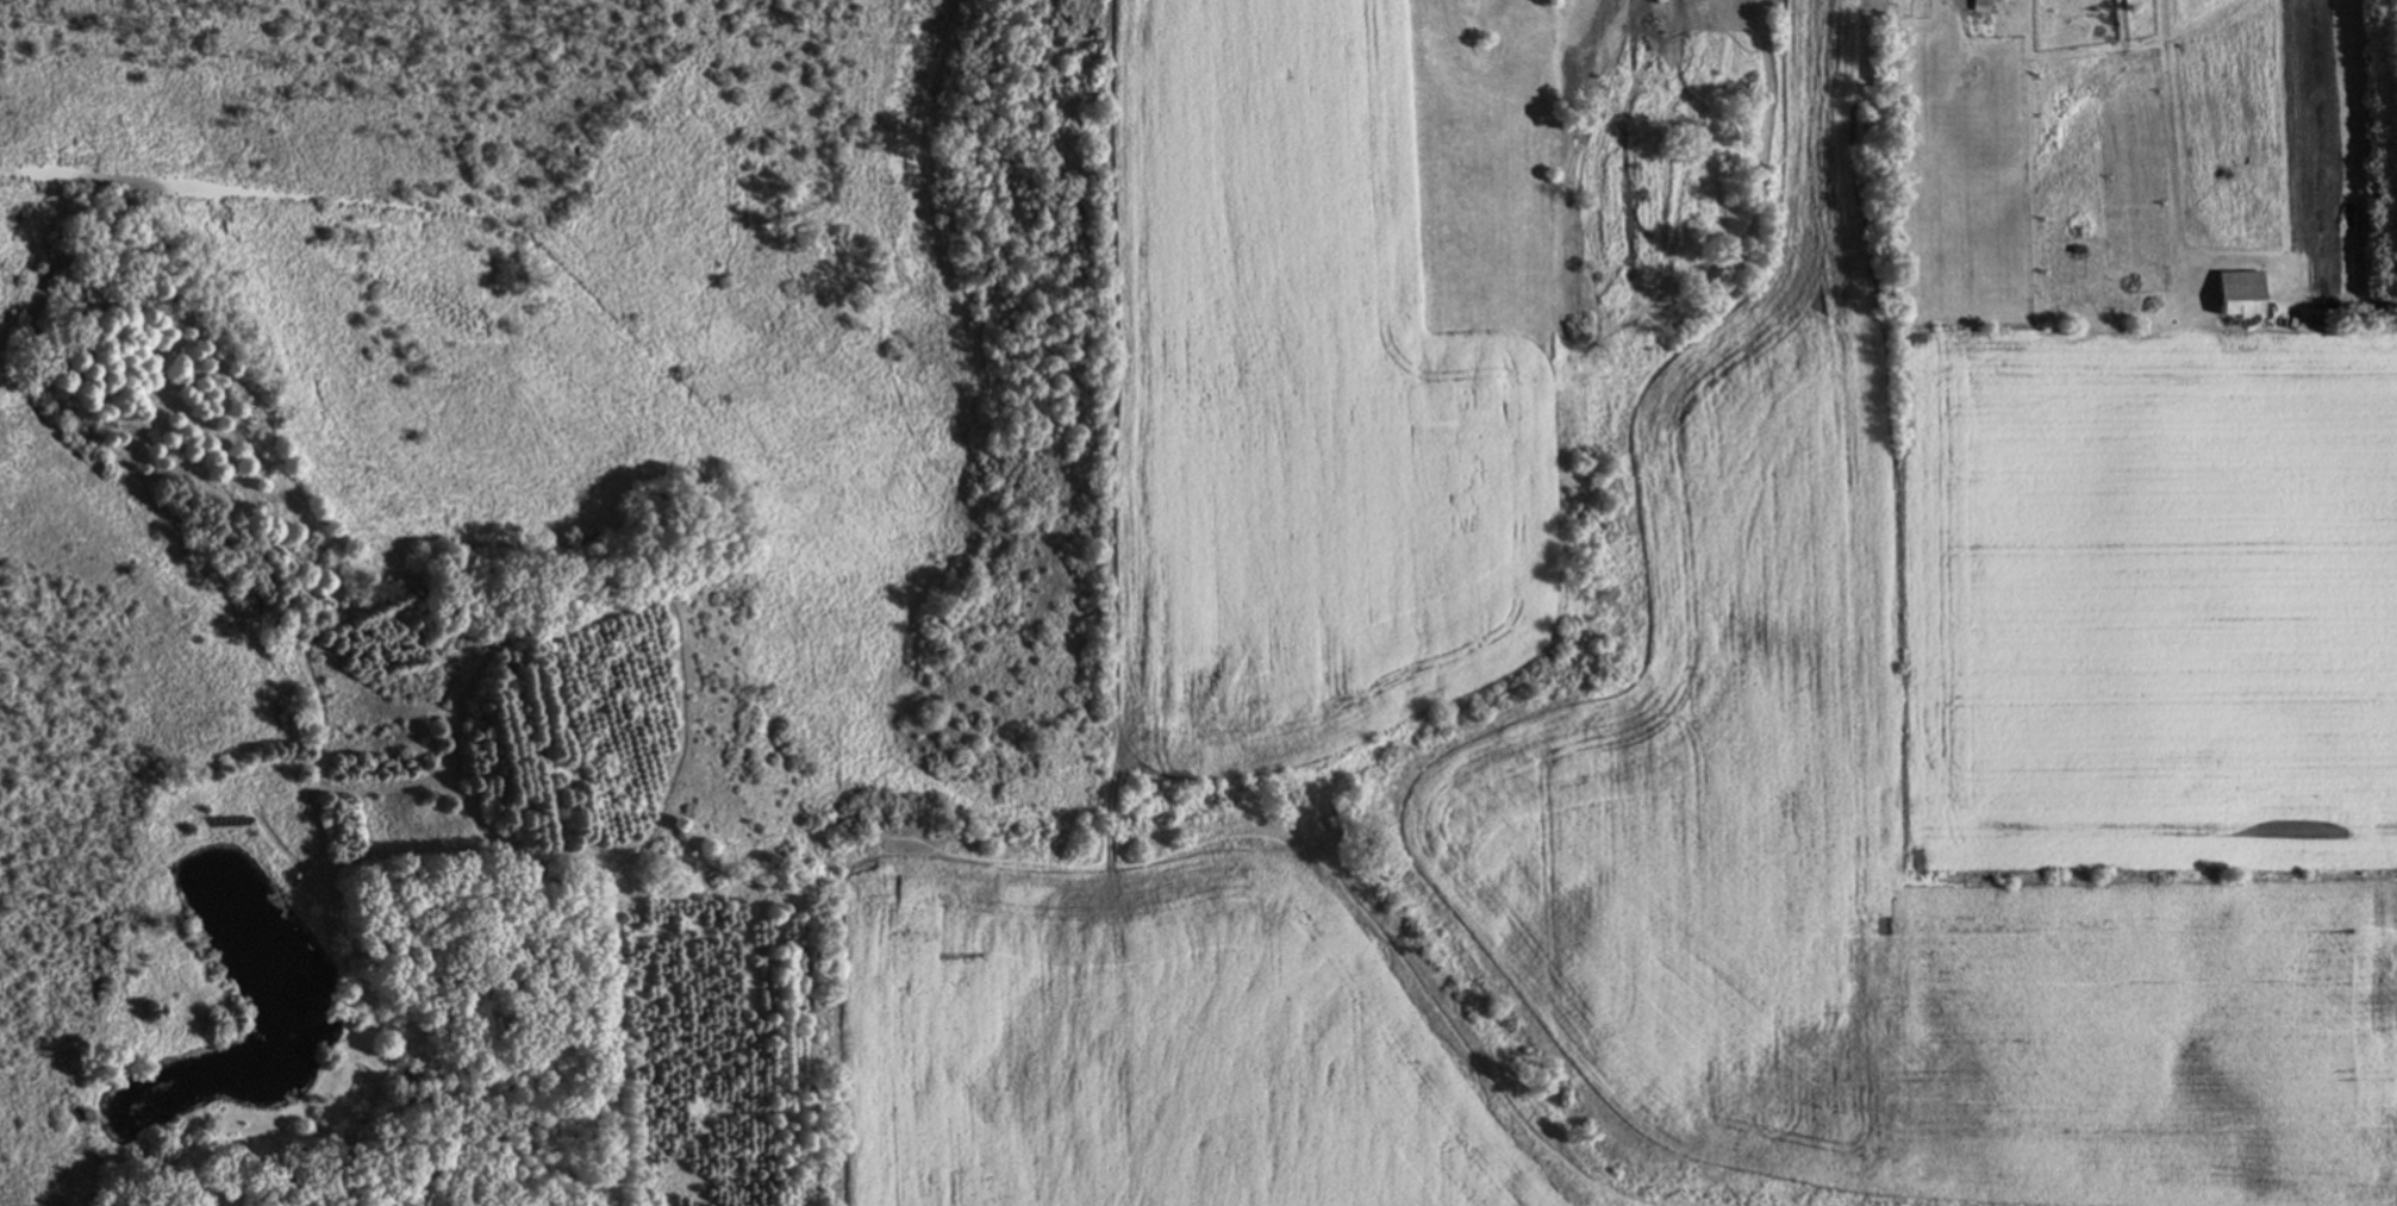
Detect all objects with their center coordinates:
building: (1977, 6)
building: (2233, 292)

